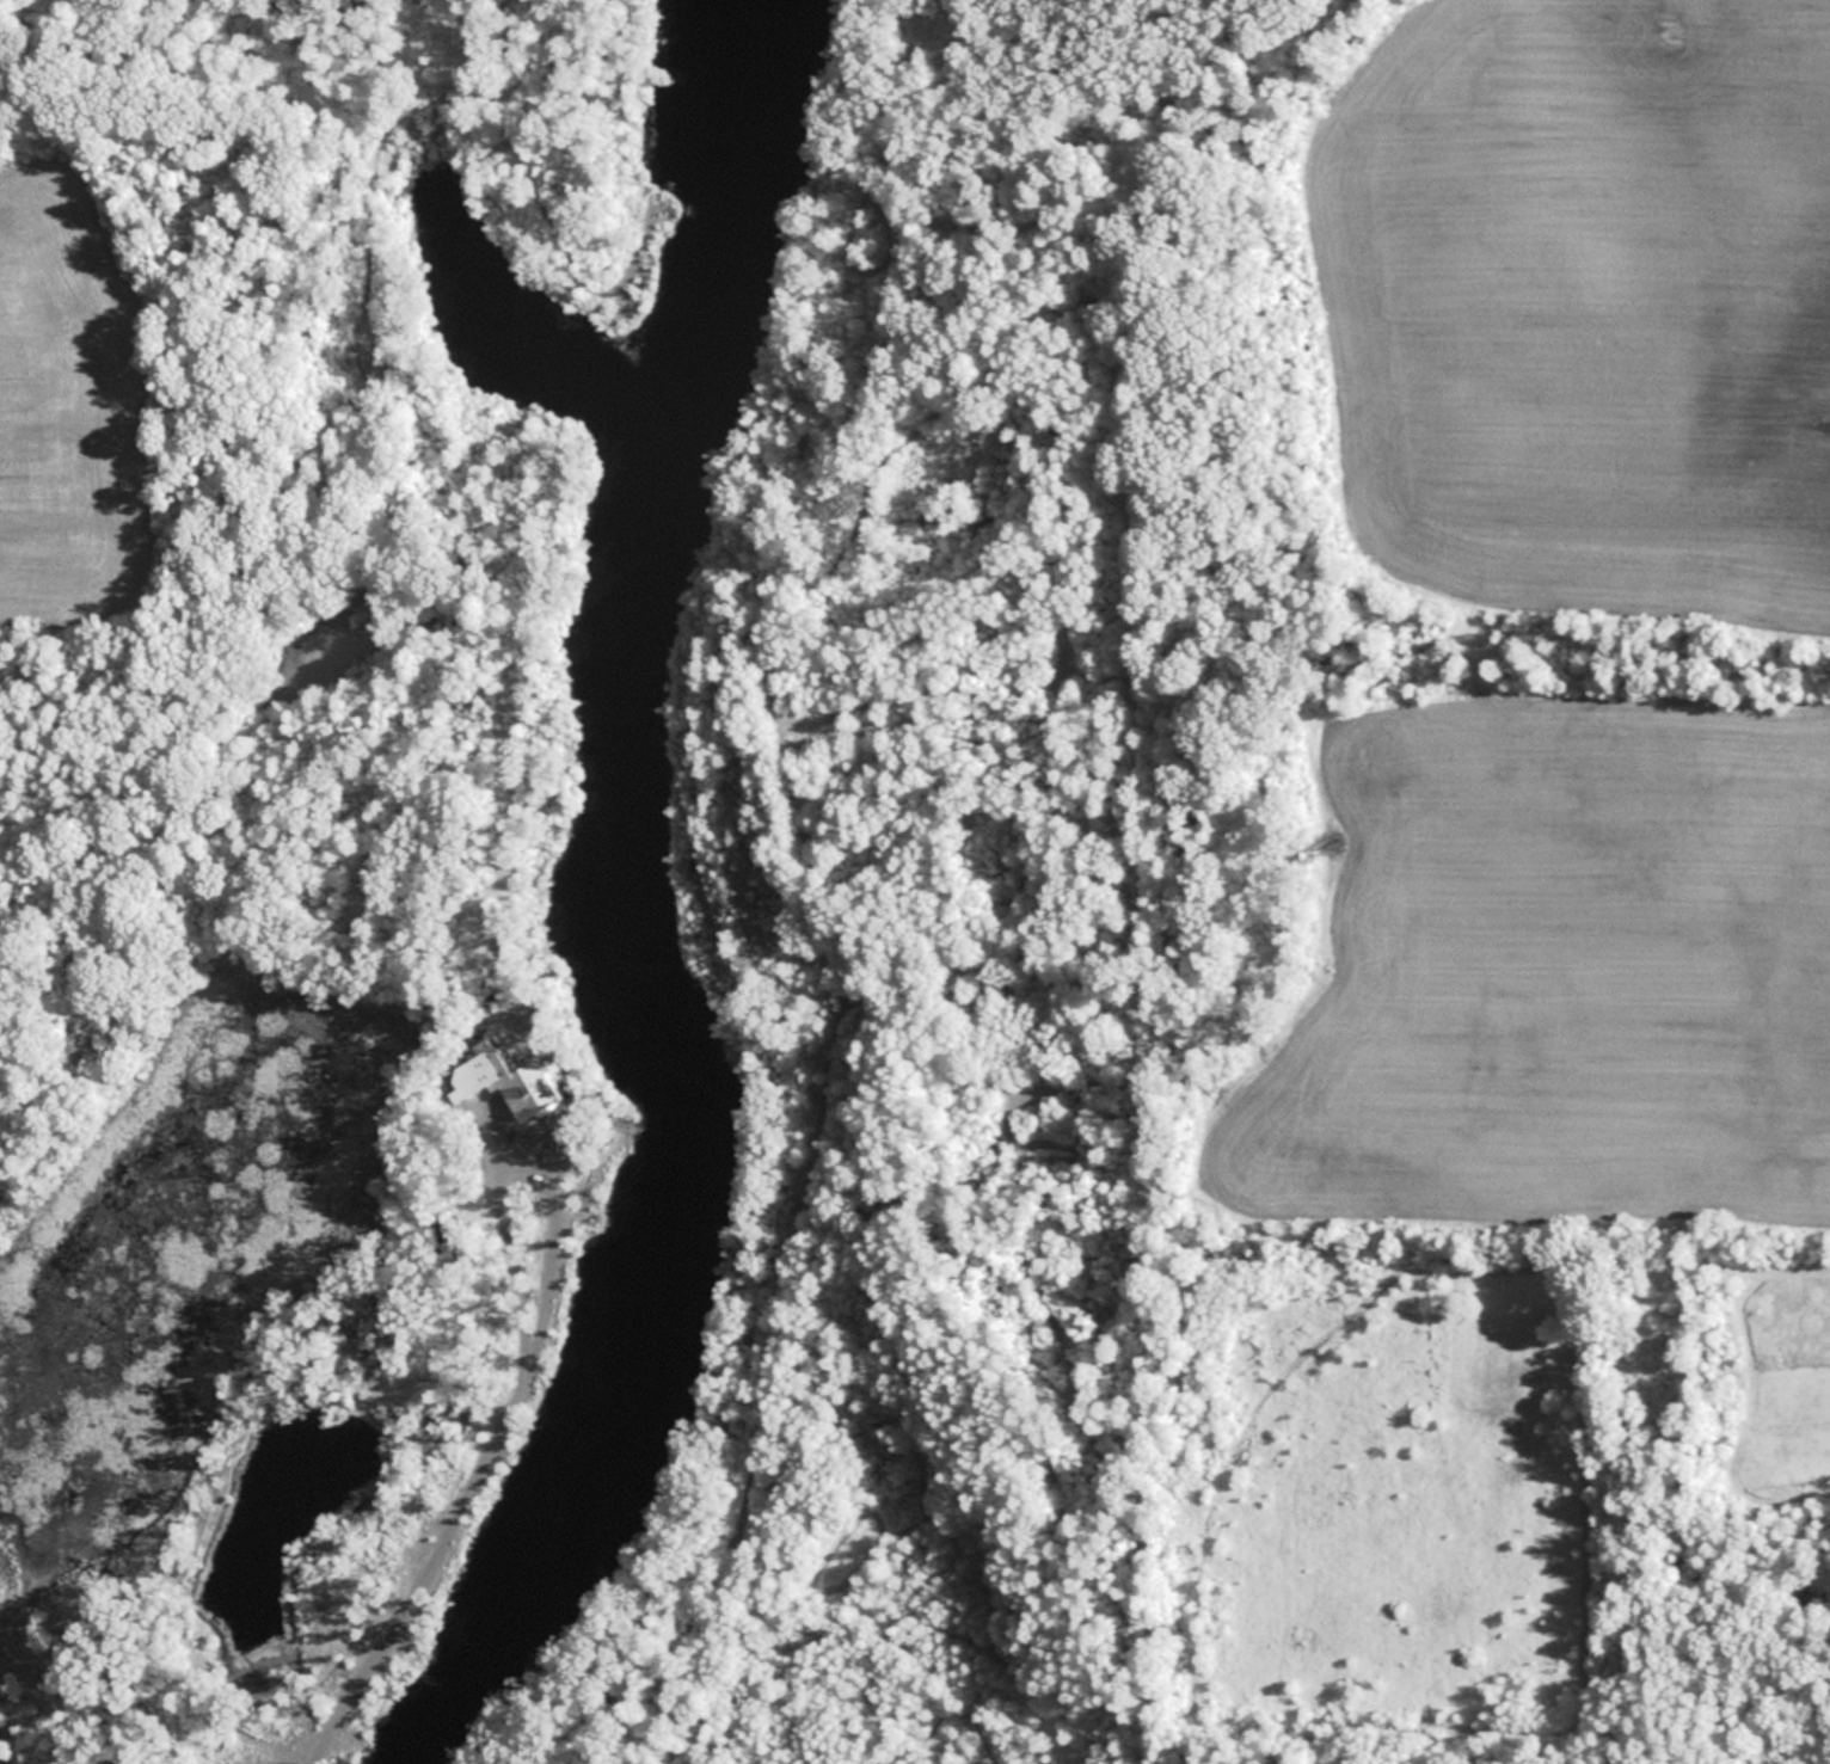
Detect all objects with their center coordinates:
building: (509, 1082)
road: (472, 1459)

